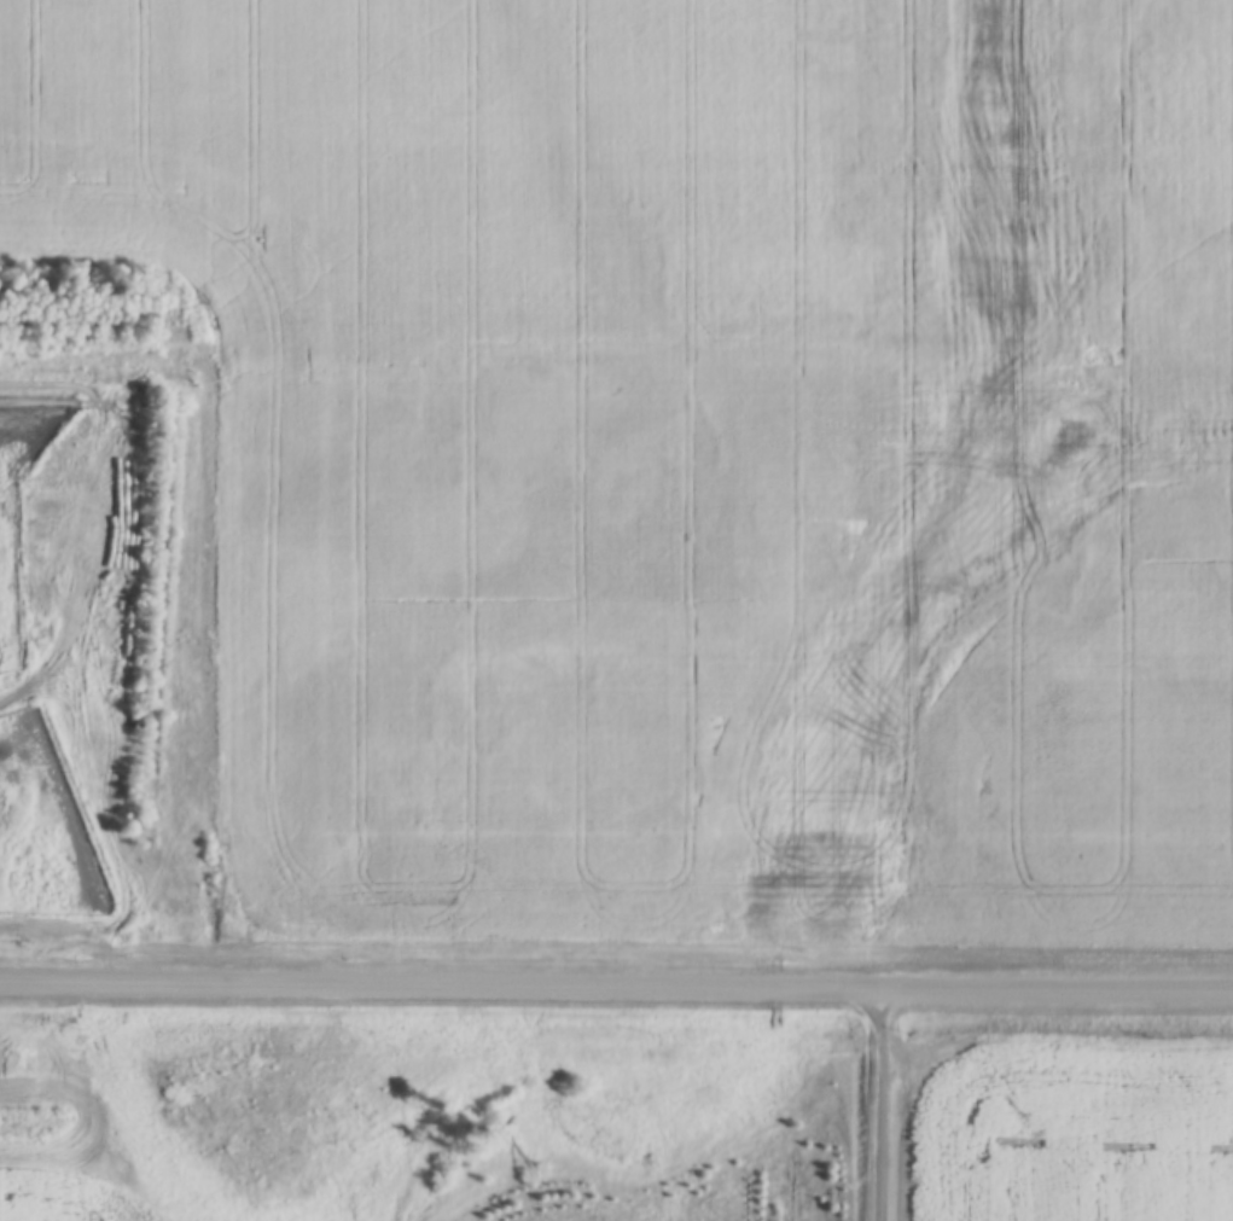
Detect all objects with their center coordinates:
road: (42, 546)
road: (616, 987)
road: (876, 1105)

